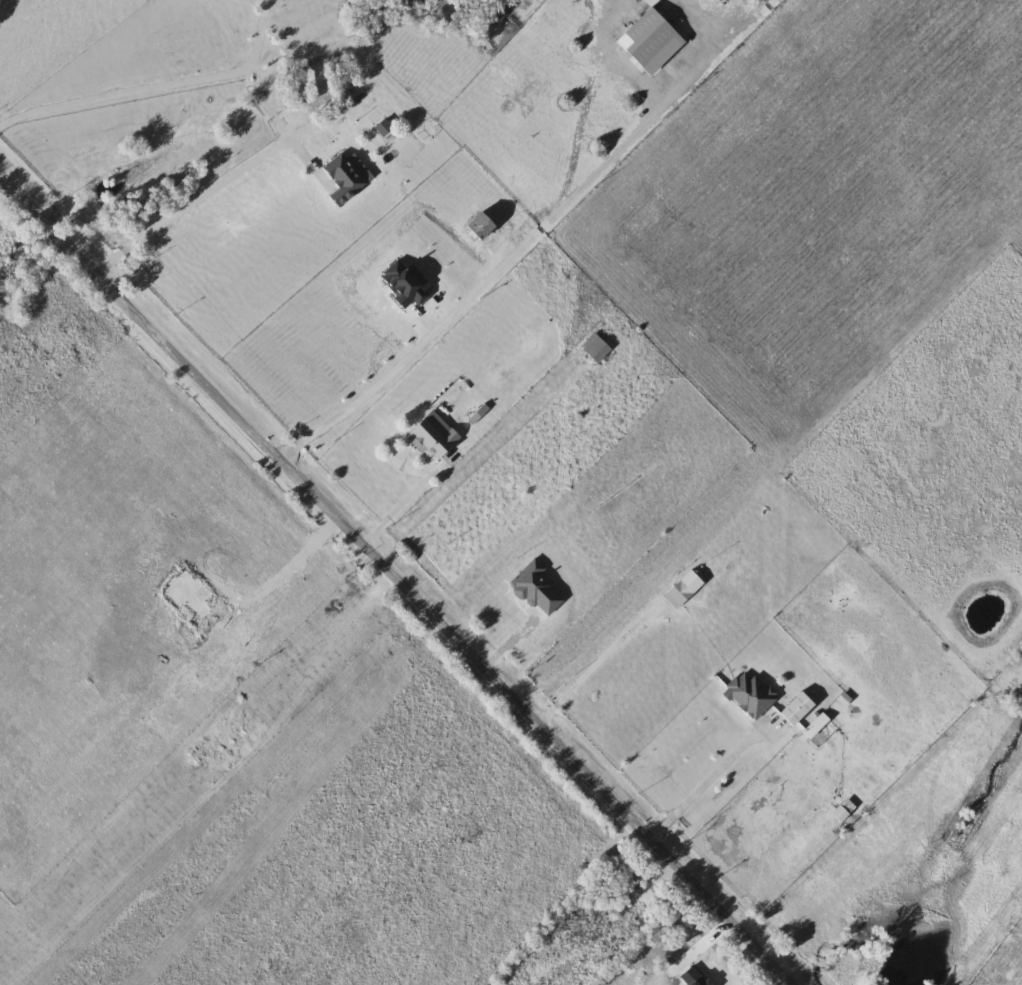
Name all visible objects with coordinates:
building: (494, 15)
road: (73, 62)
road: (125, 92)
building: (387, 129)
road: (249, 163)
building: (350, 172)
road: (545, 223)
building: (488, 224)
building: (598, 348)
building: (436, 435)
road: (397, 507)
road: (392, 580)
building: (687, 587)
road: (600, 663)
building: (751, 694)
building: (800, 708)
building: (821, 721)
road: (714, 775)
building: (845, 810)
road: (783, 869)

